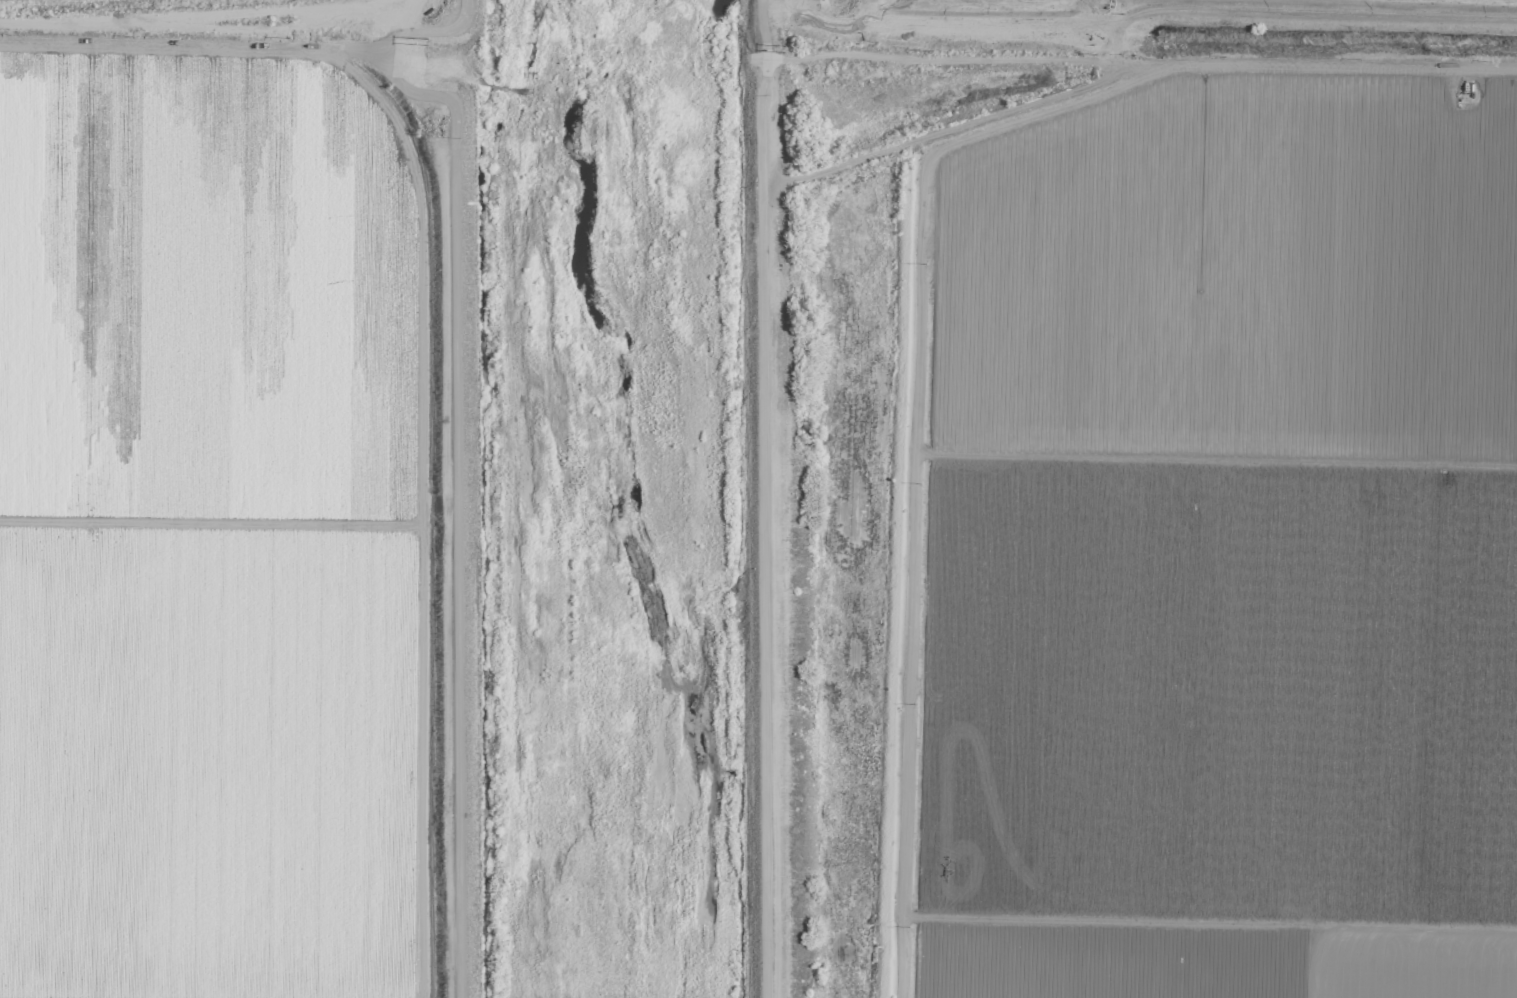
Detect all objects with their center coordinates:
crop: (1187, 13)
road: (214, 45)
road: (1136, 62)
road: (758, 498)
crop: (228, 499)
river: (590, 499)
crop: (1157, 535)

